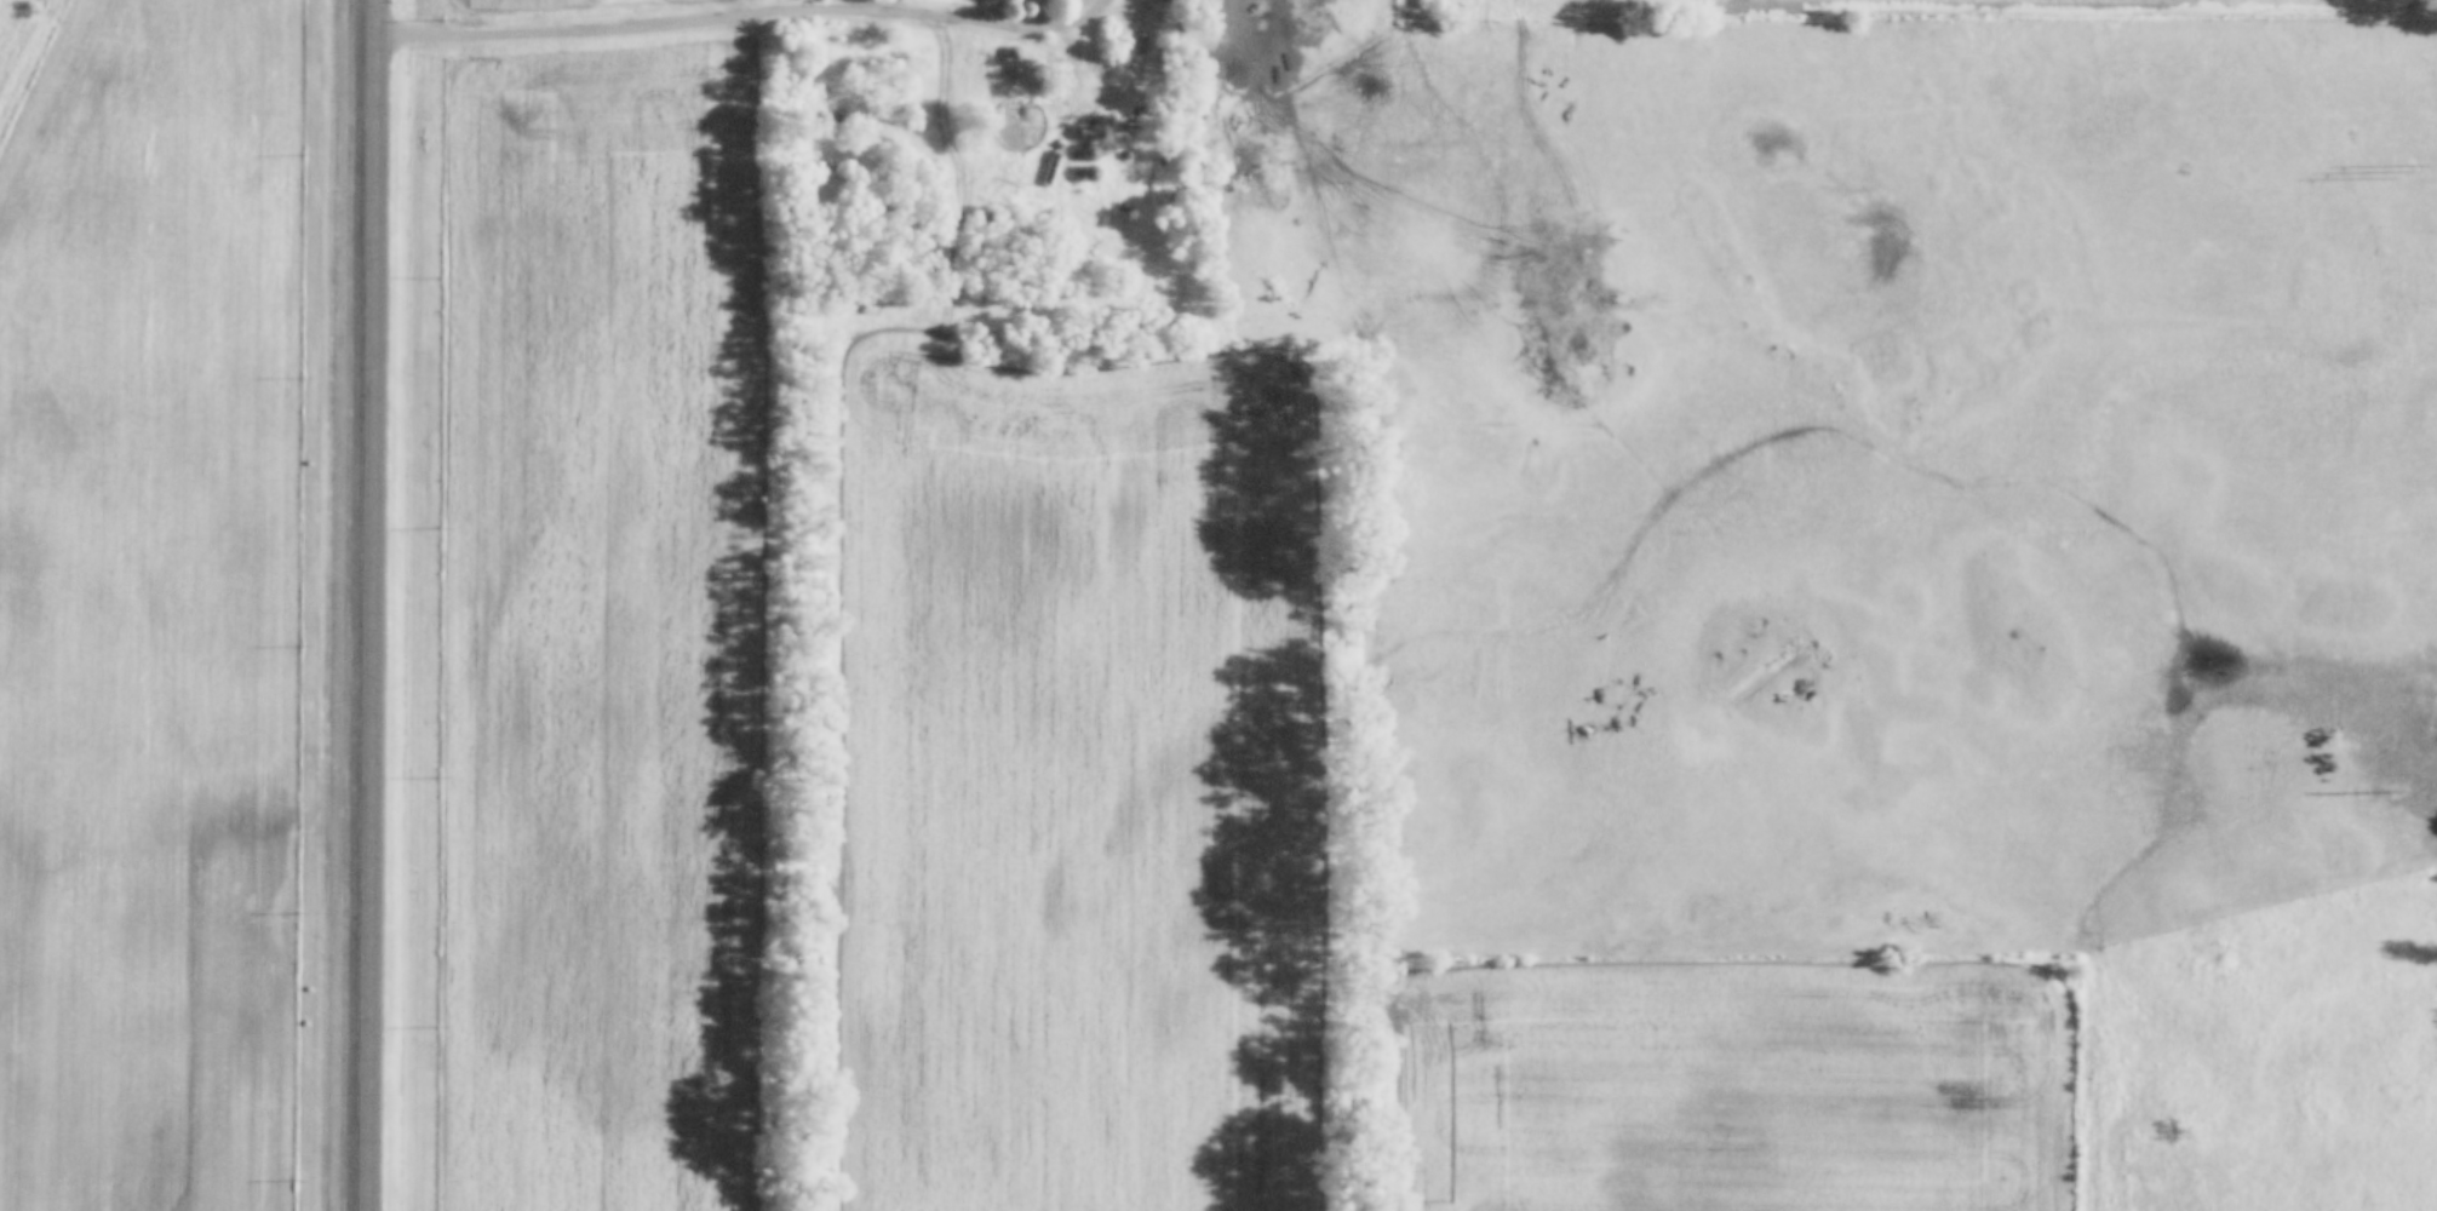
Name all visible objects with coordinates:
road: (694, 22)
road: (1045, 24)
building: (1210, 70)
building: (1090, 153)
power tower: (2399, 172)
road: (378, 604)
power tower: (2396, 792)

